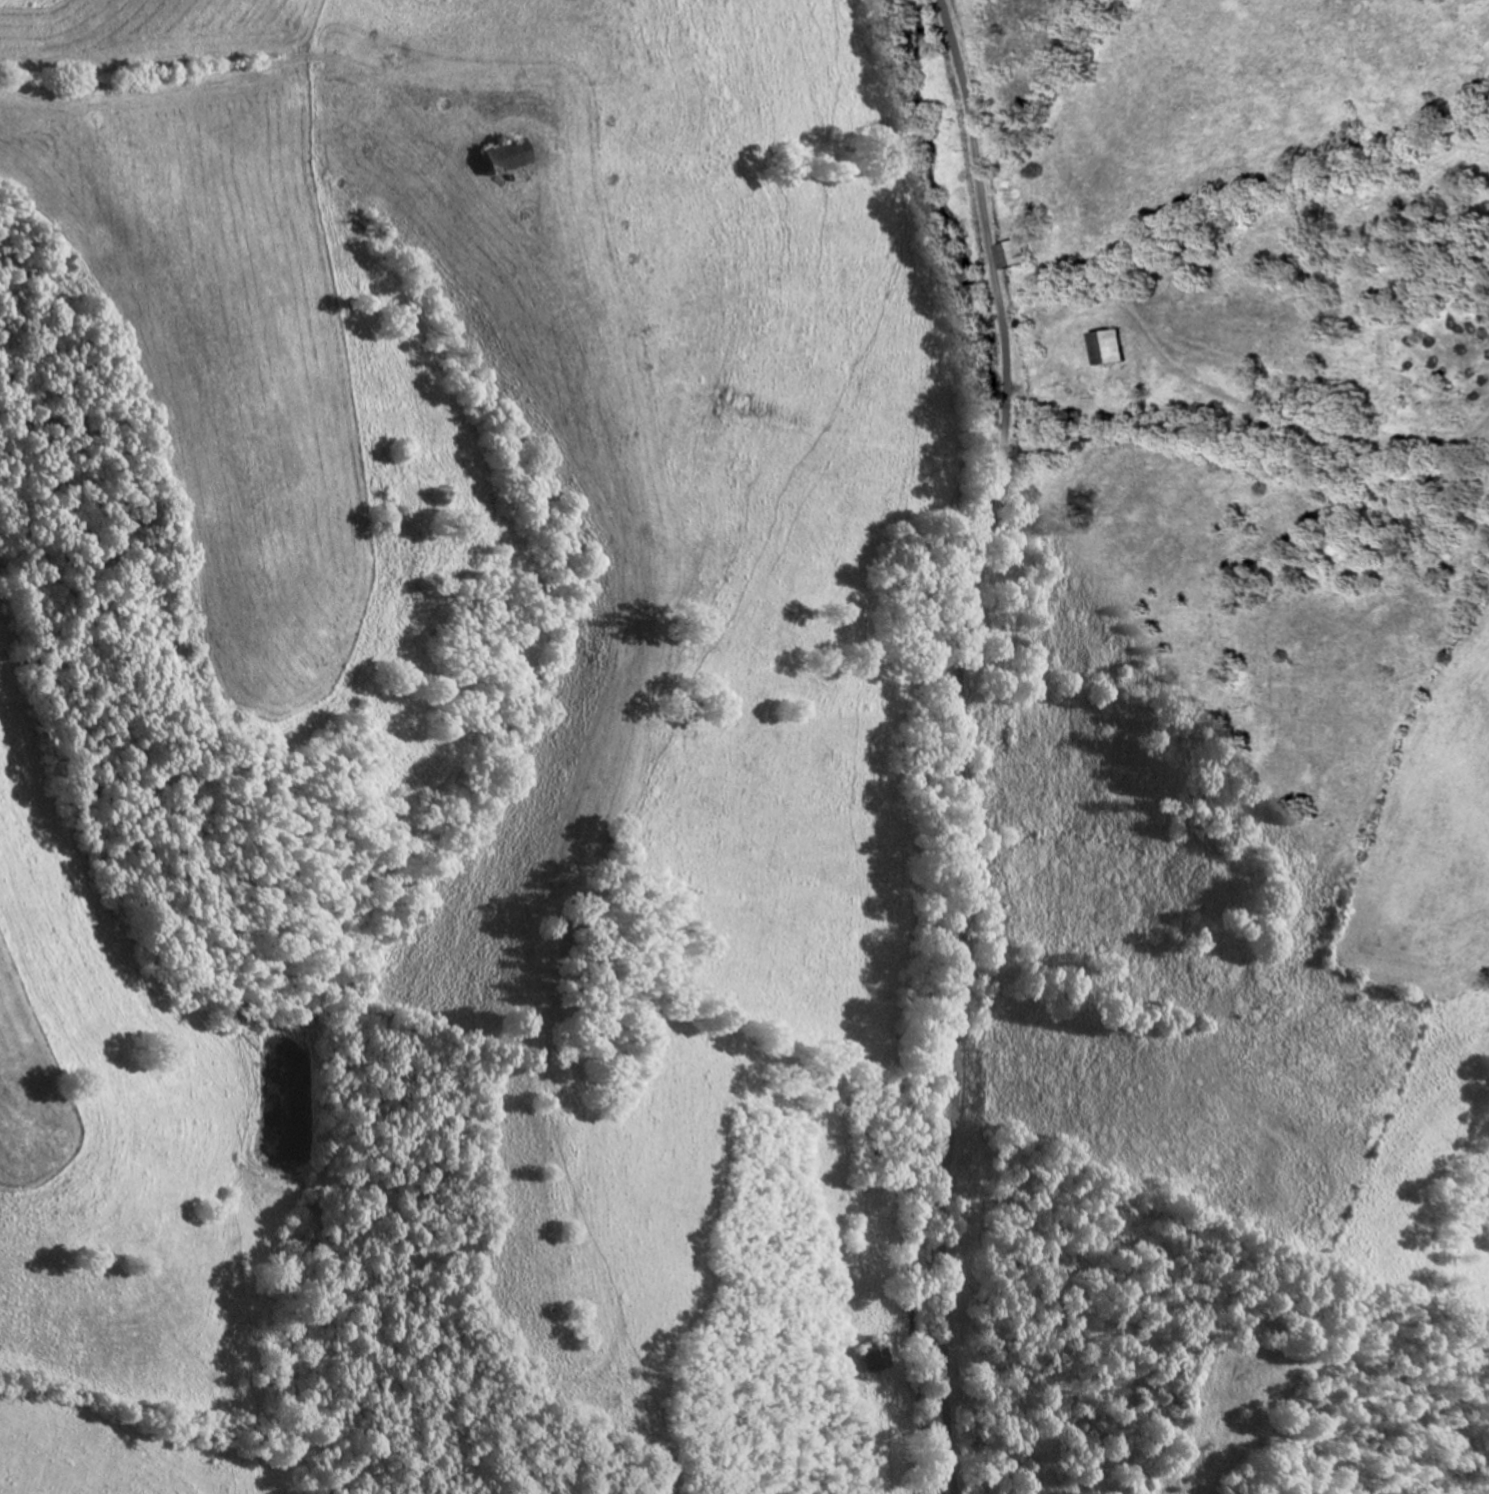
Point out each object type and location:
building: (512, 156)
building: (1016, 254)
building: (1114, 347)
road: (960, 742)
building: (878, 1357)

